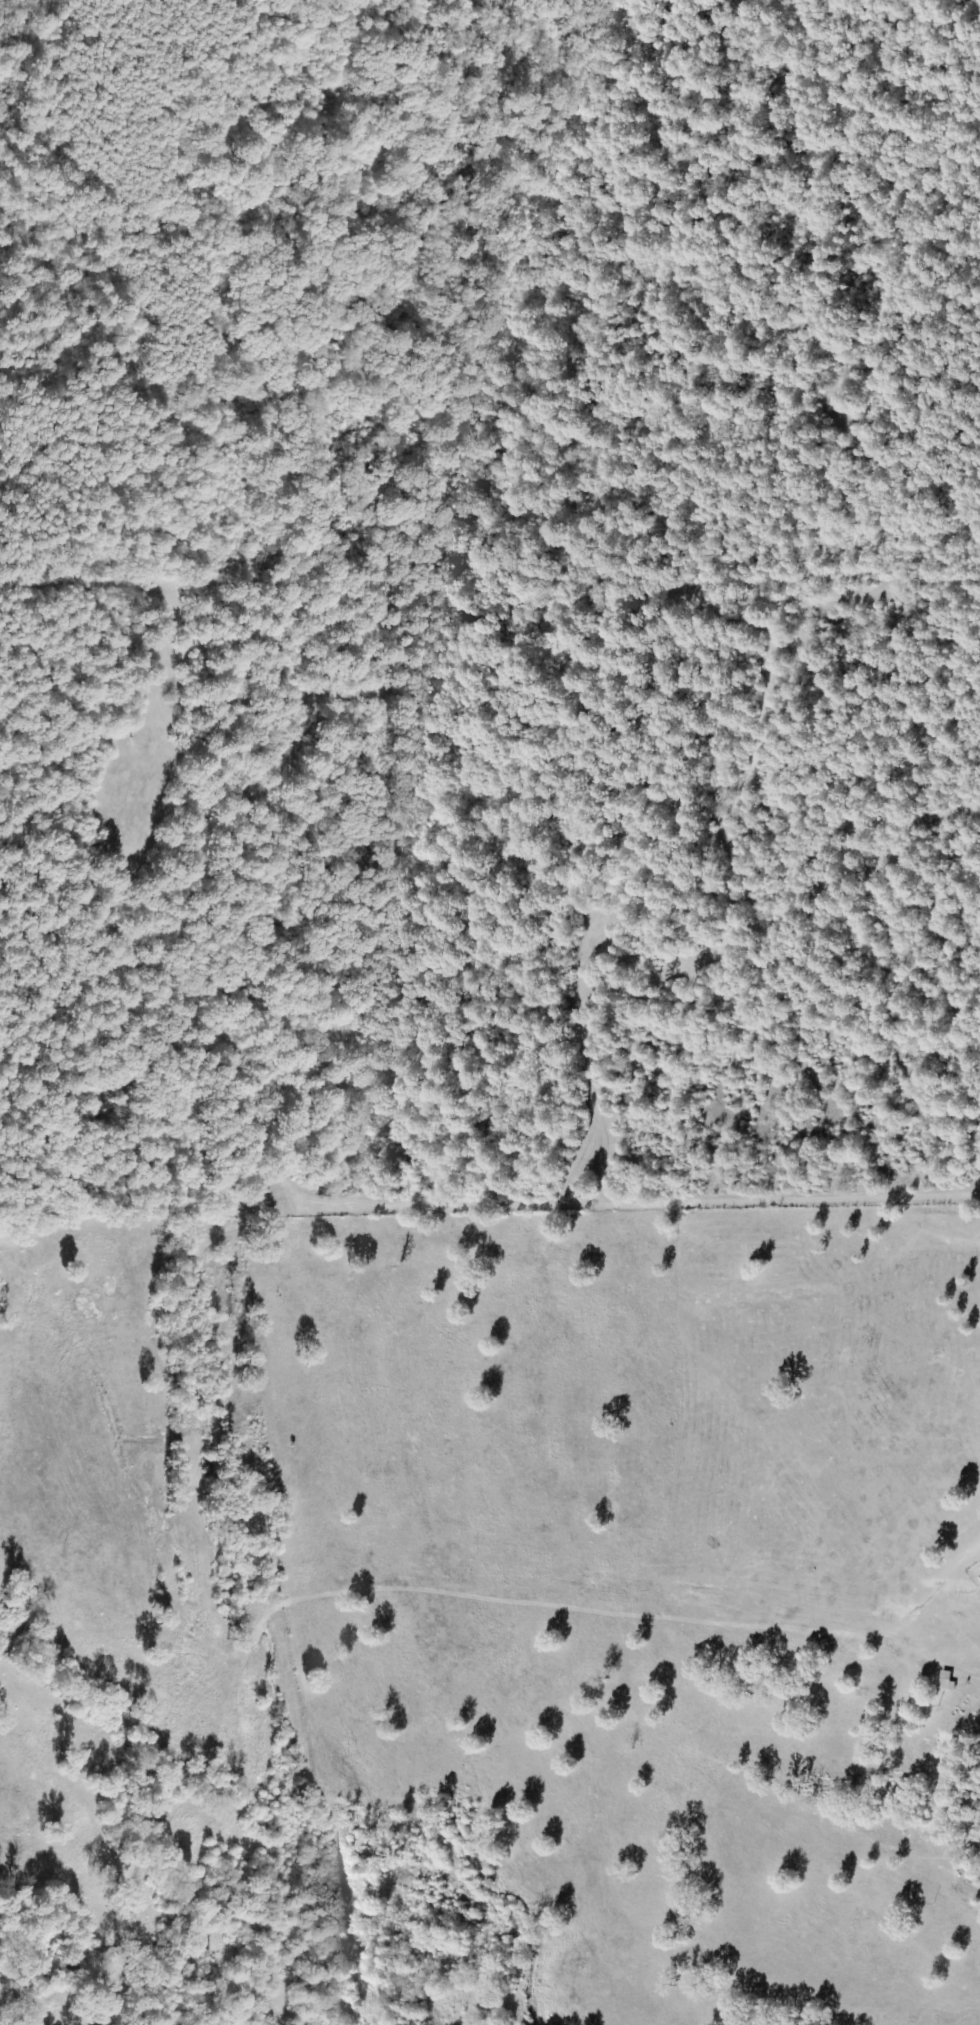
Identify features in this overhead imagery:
building: (948, 1680)

